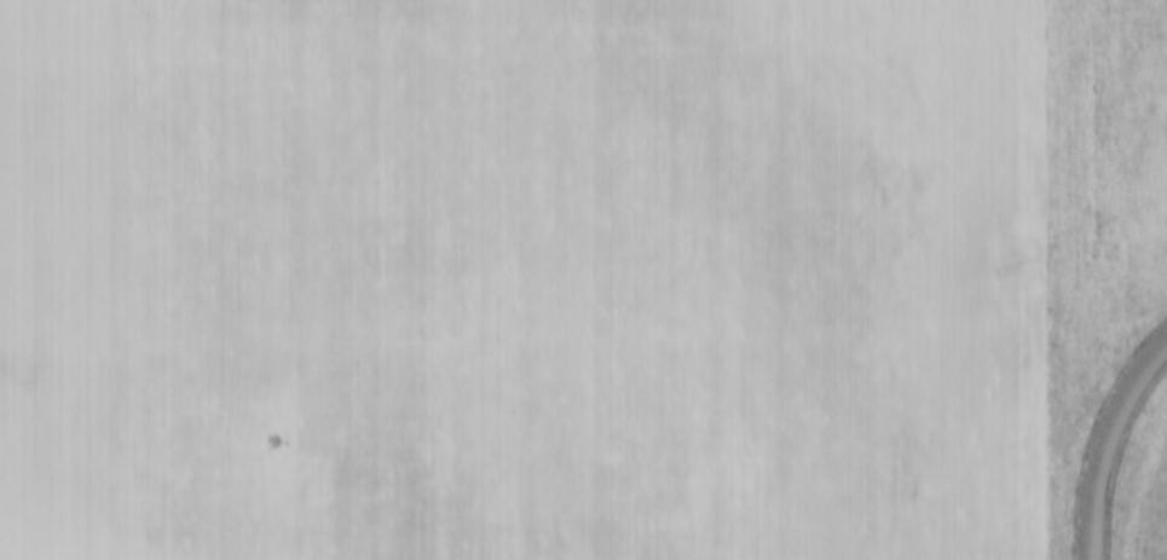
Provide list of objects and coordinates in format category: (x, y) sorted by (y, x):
road: (1107, 433)

